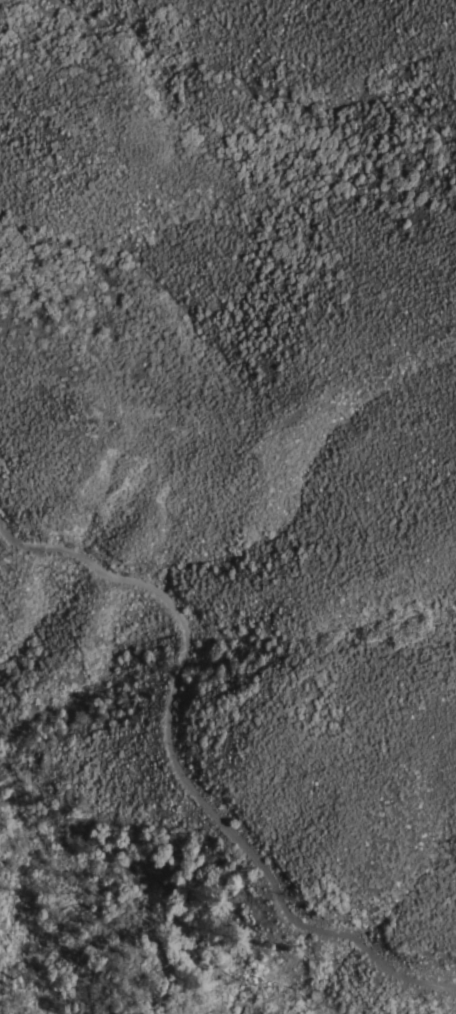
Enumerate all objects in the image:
road: (177, 773)

